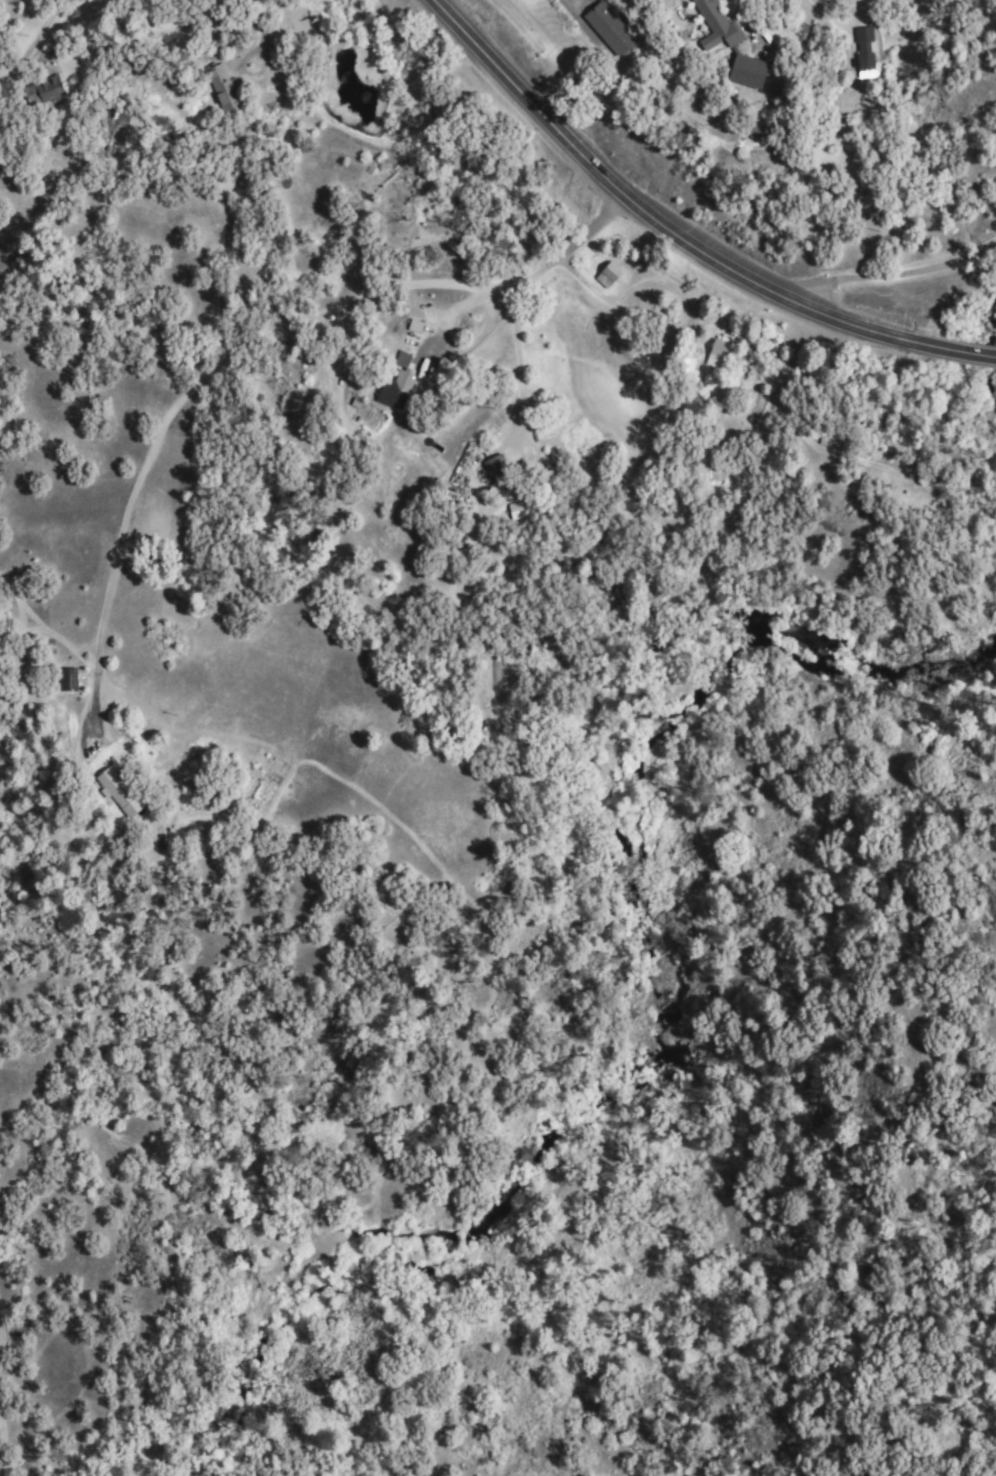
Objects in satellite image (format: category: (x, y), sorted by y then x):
building: (713, 25)
building: (607, 27)
building: (866, 51)
building: (742, 69)
building: (51, 89)
building: (754, 128)
road: (678, 239)
building: (607, 273)
road: (887, 276)
building: (716, 352)
building: (401, 358)
building: (686, 365)
building: (390, 392)
road: (170, 426)
building: (495, 462)
building: (125, 791)
road: (48, 814)
road: (39, 936)

